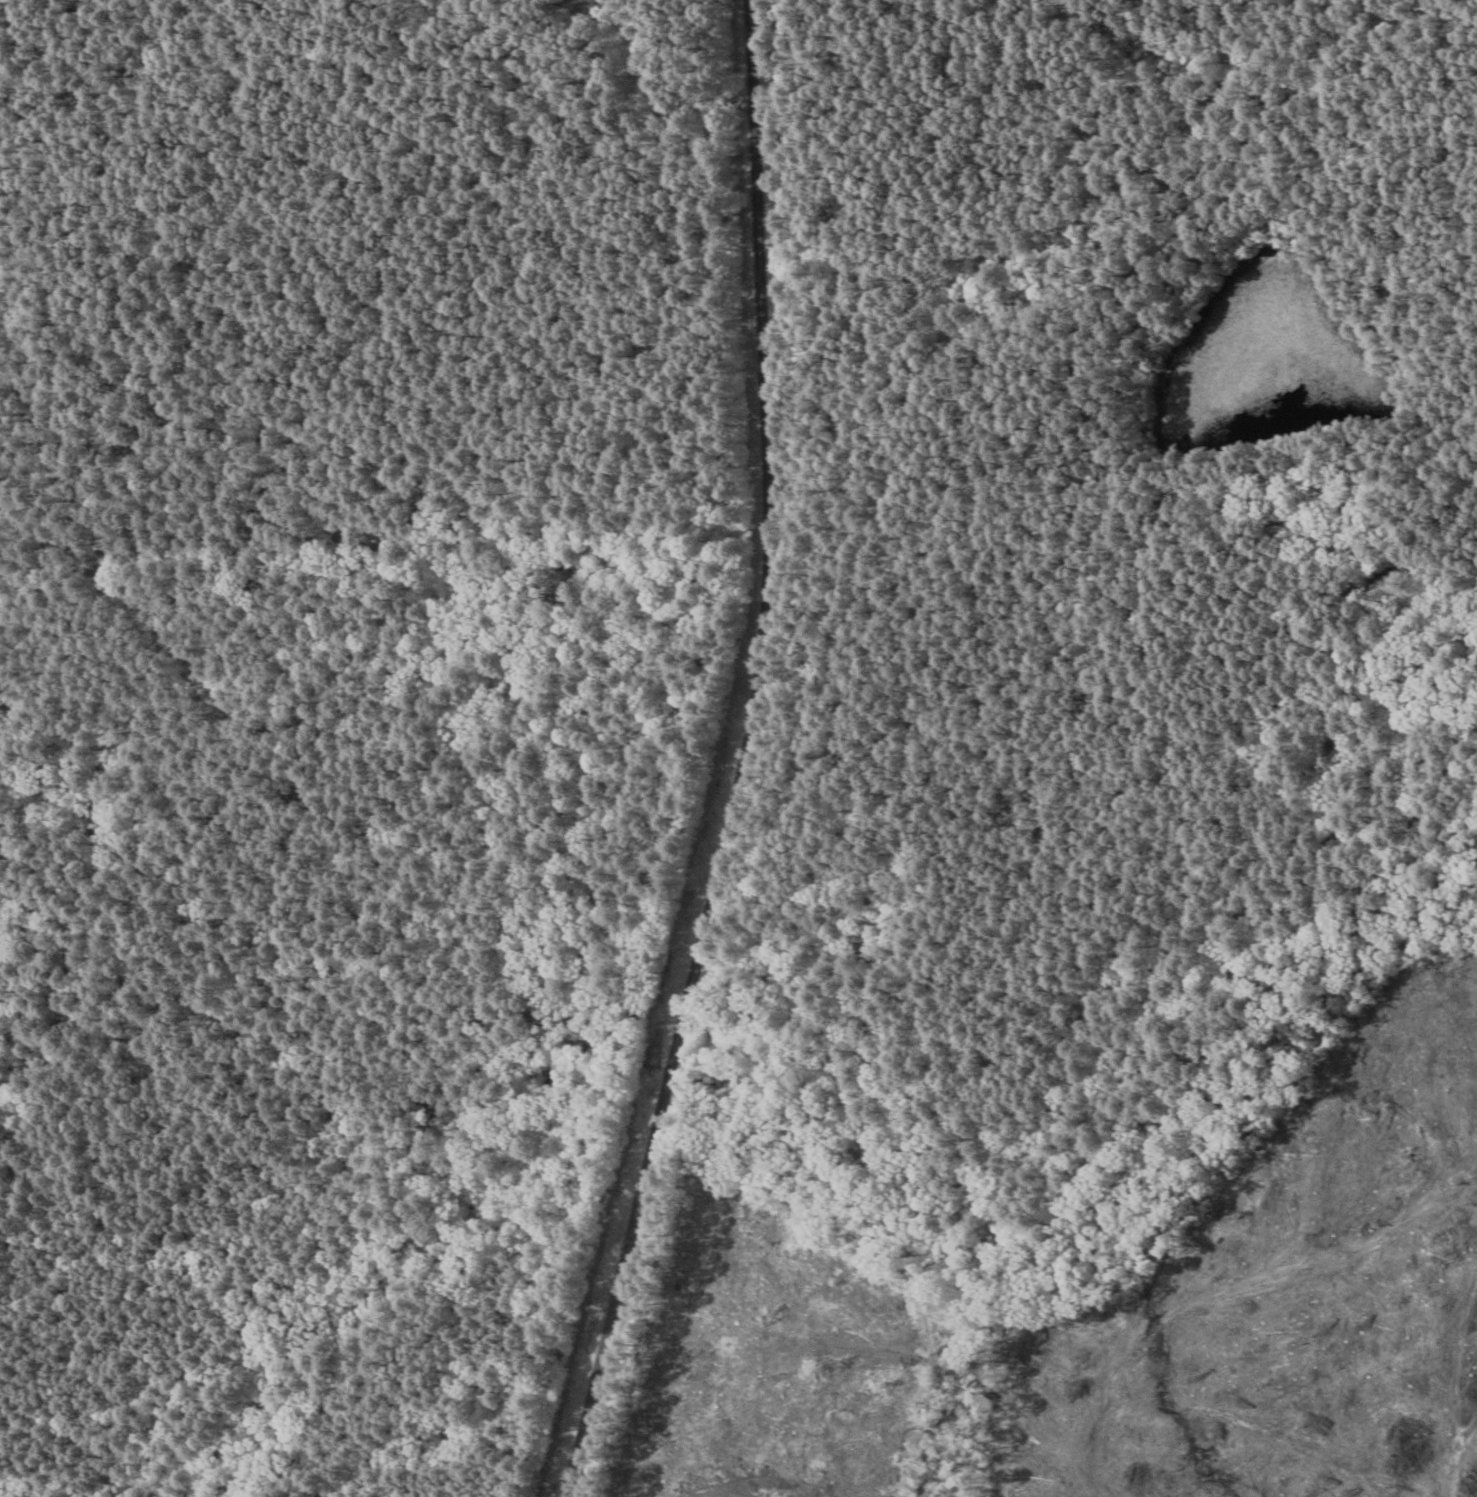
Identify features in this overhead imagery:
road: (749, 757)

